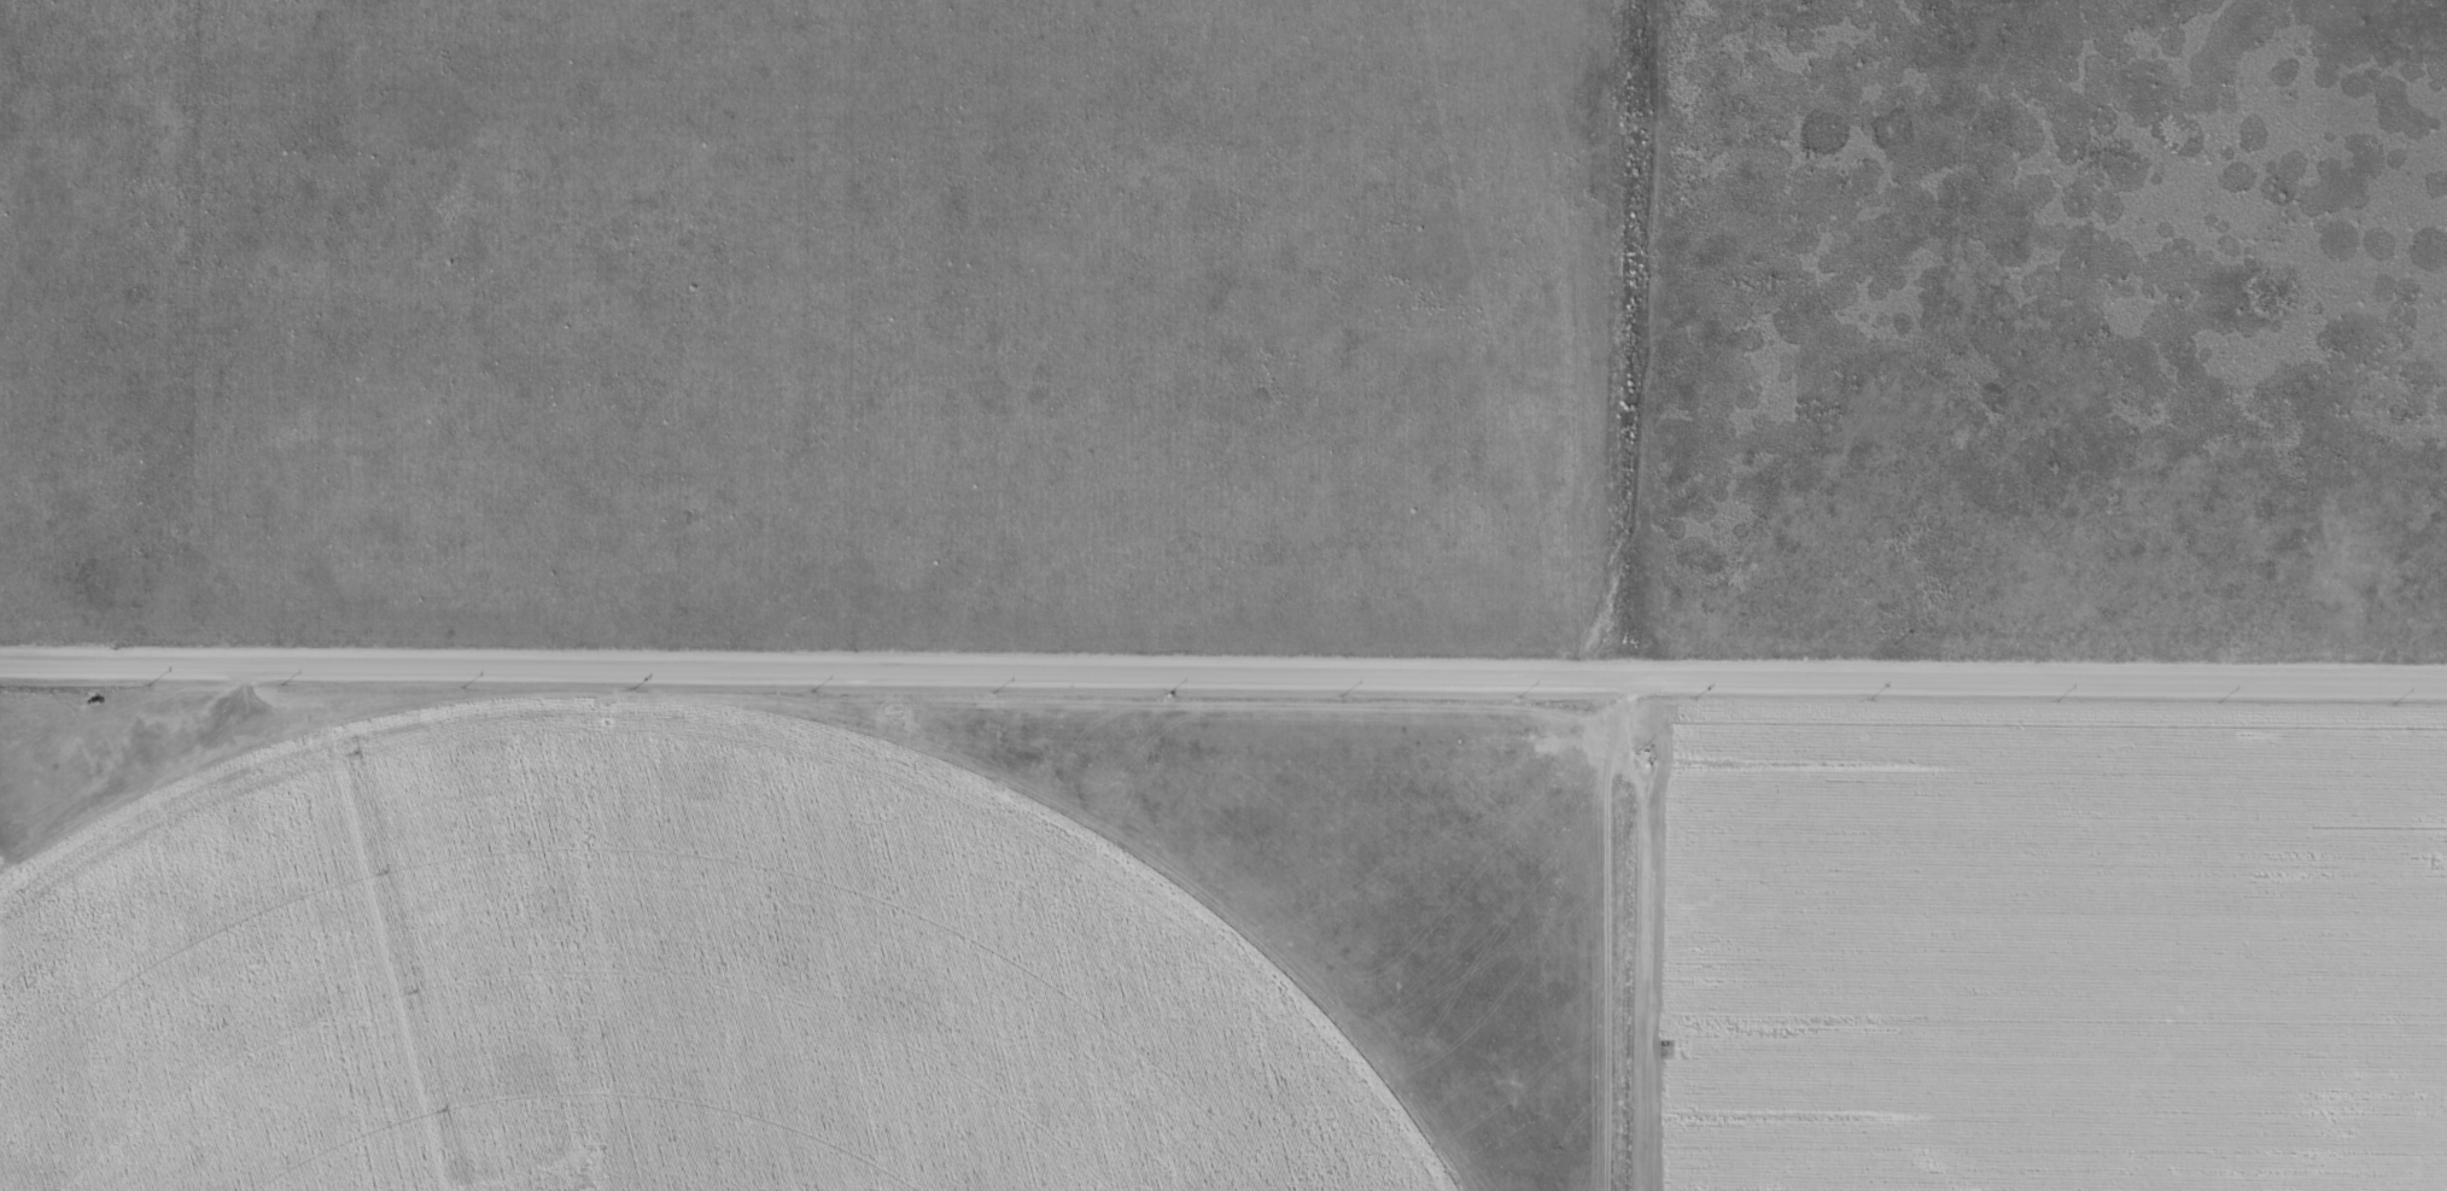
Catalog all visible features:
road: (192, 333)
road: (1222, 672)

